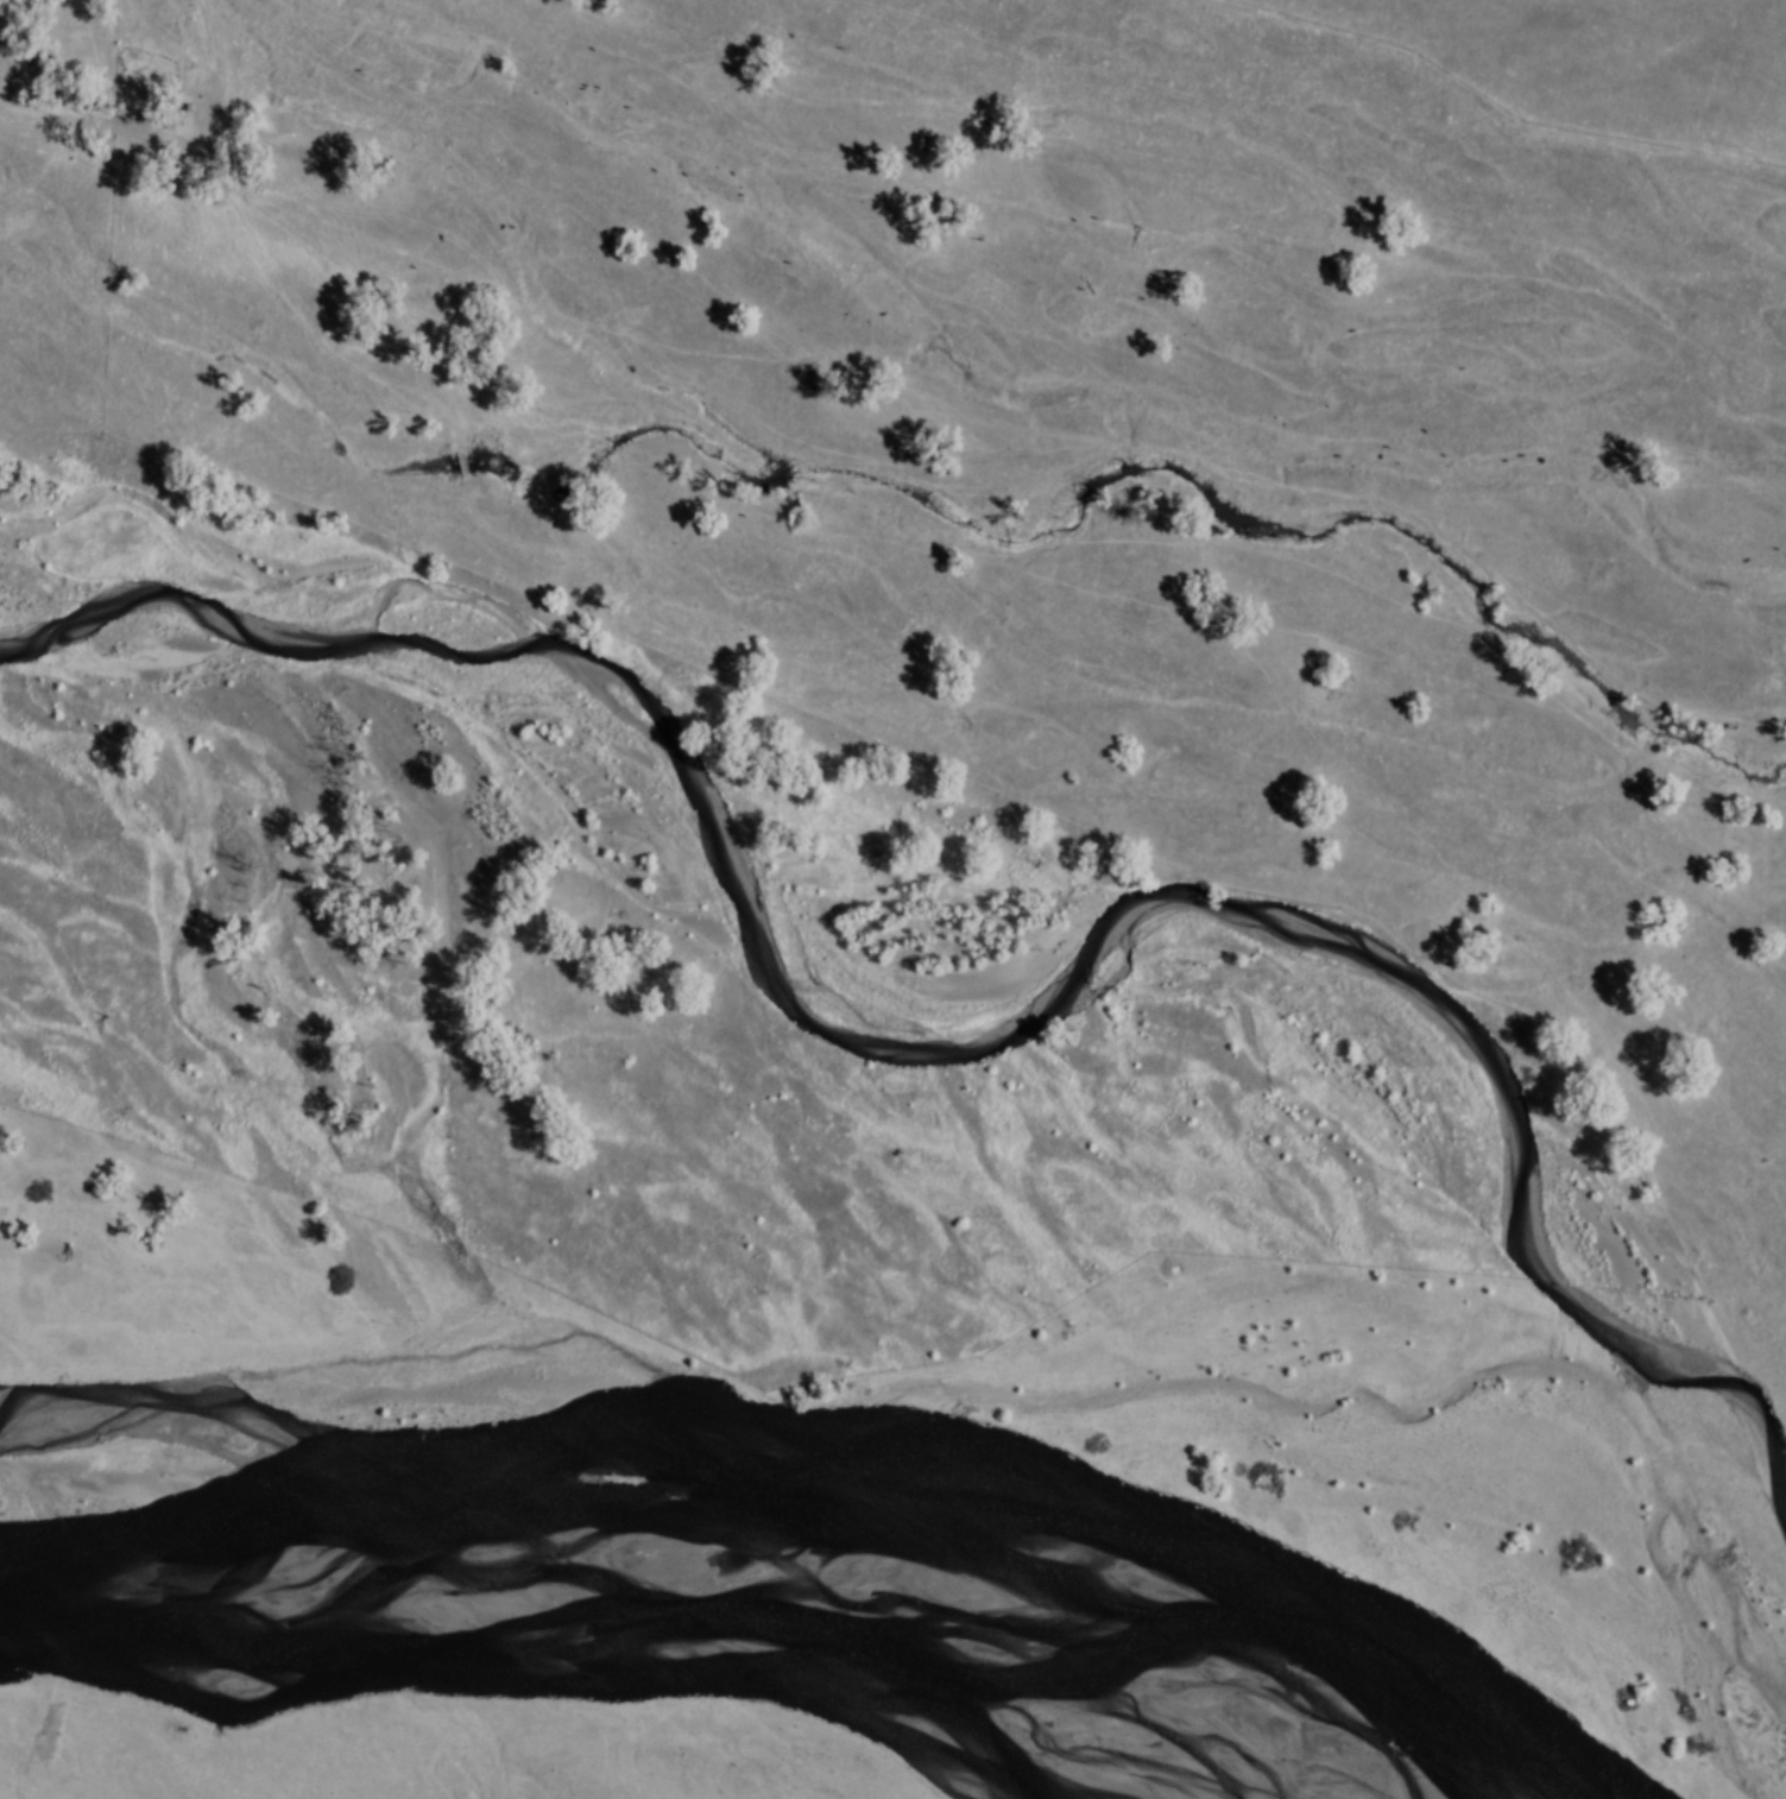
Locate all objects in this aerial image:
river: (753, 1598)

